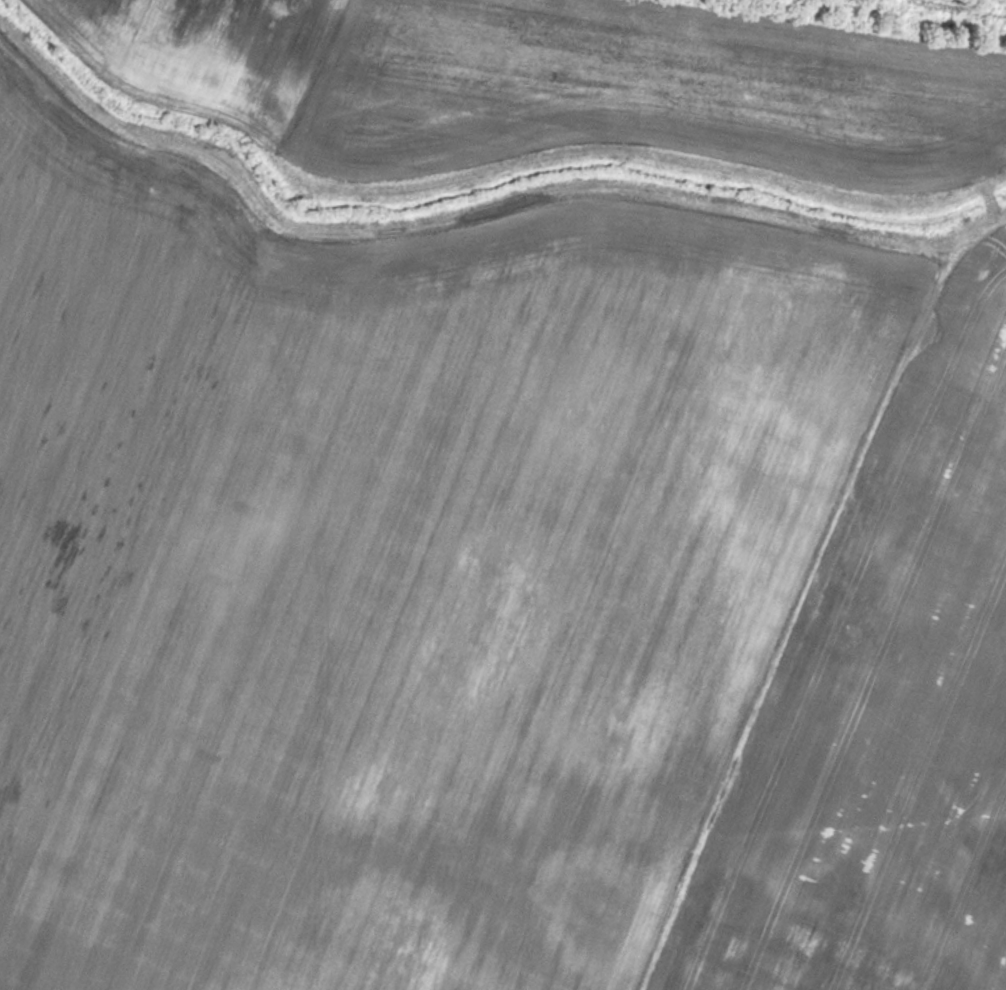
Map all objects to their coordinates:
crop: (379, 567)
crop: (890, 717)

